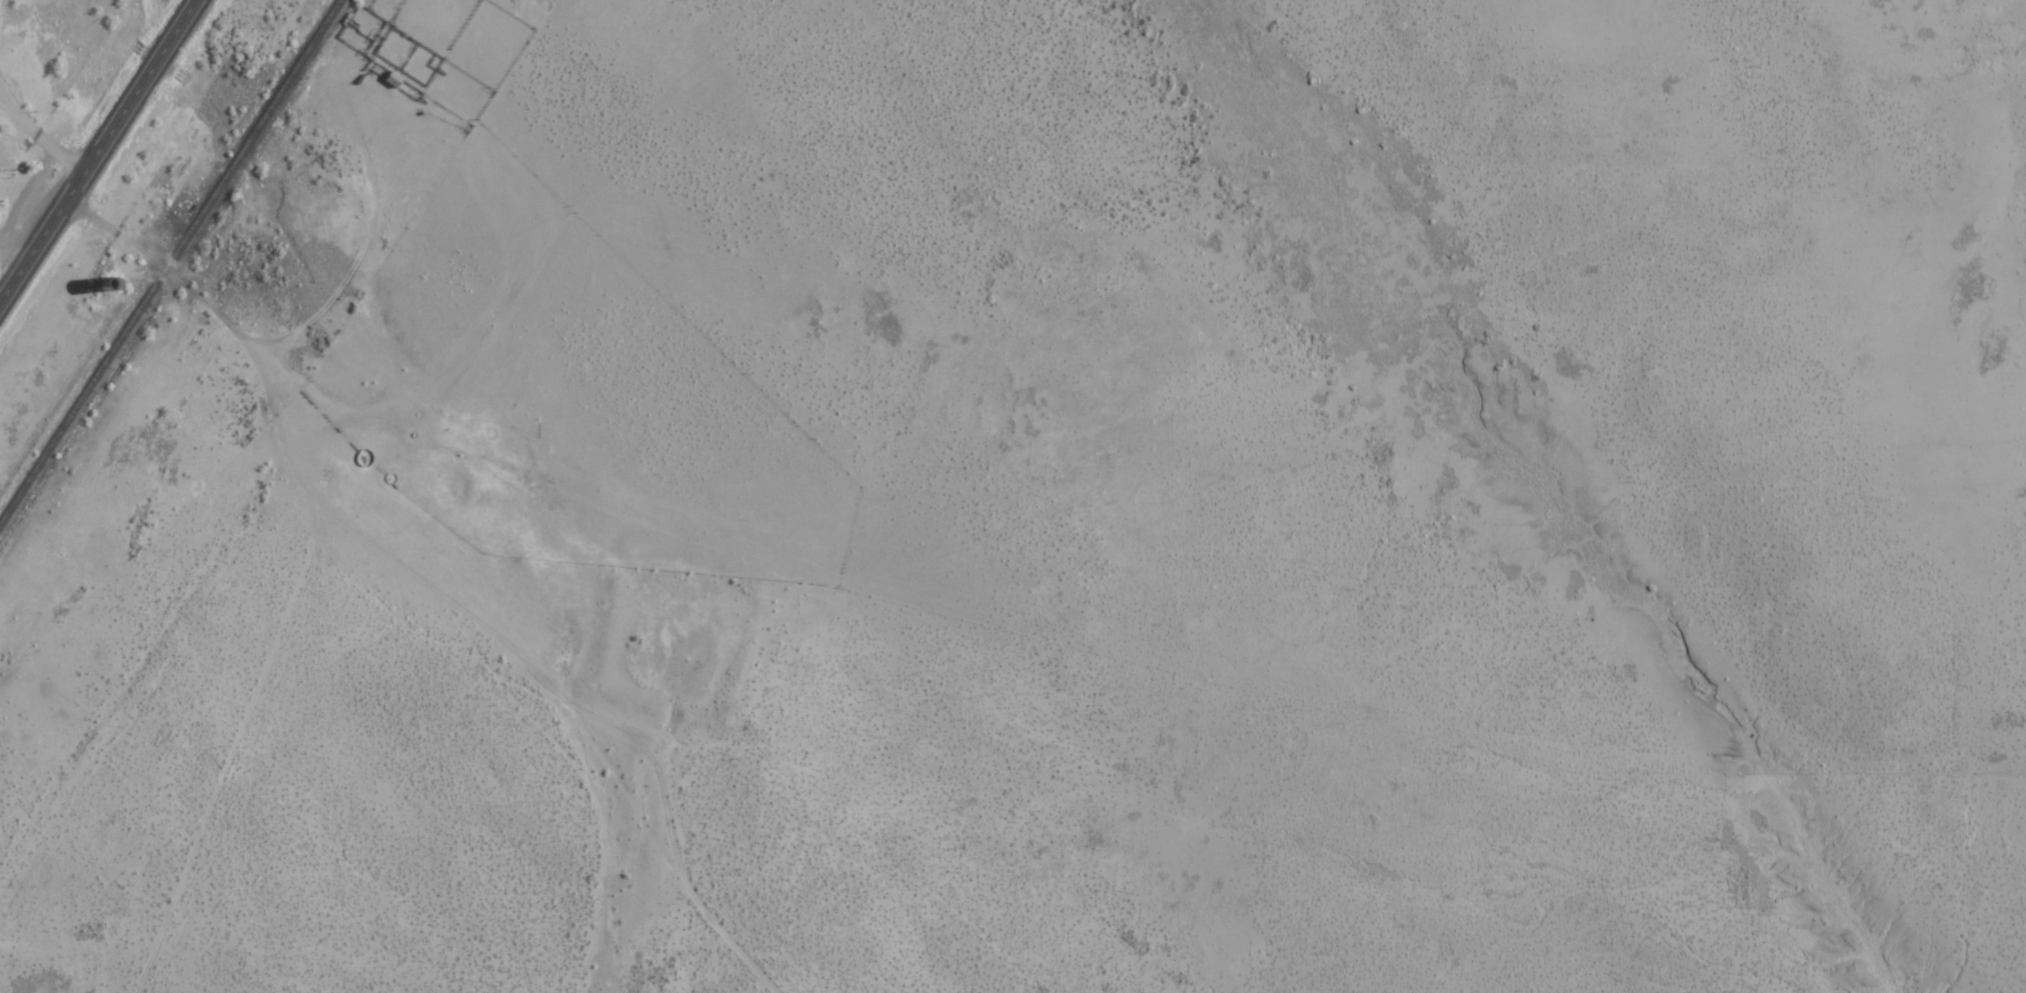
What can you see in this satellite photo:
road: (37, 123)
road: (97, 149)
road: (372, 224)
railway: (167, 259)
road: (470, 349)
road: (182, 671)
road: (574, 723)

